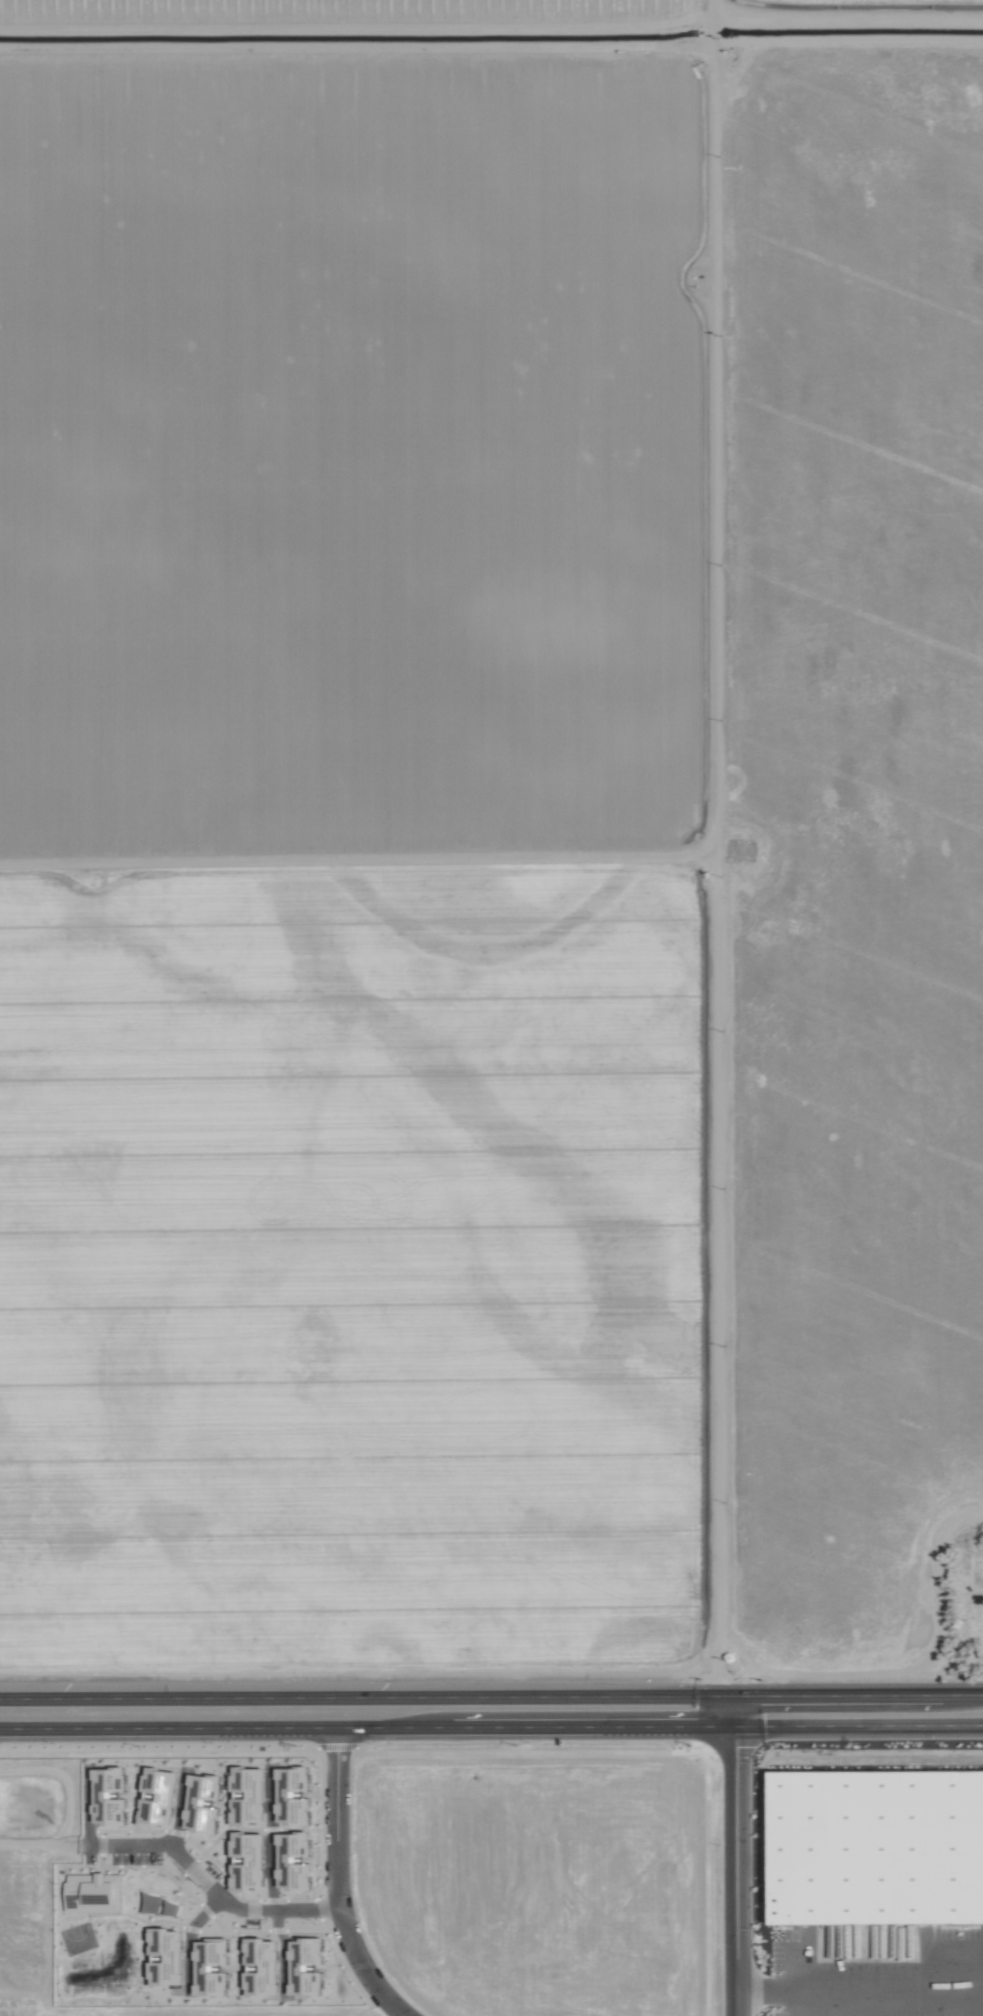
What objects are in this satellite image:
road: (853, 1695)
road: (361, 1697)
road: (855, 1724)
road: (363, 1726)
building: (877, 1845)
road: (725, 1855)
road: (319, 1883)
road: (192, 1886)
road: (854, 1988)
road: (785, 2002)

